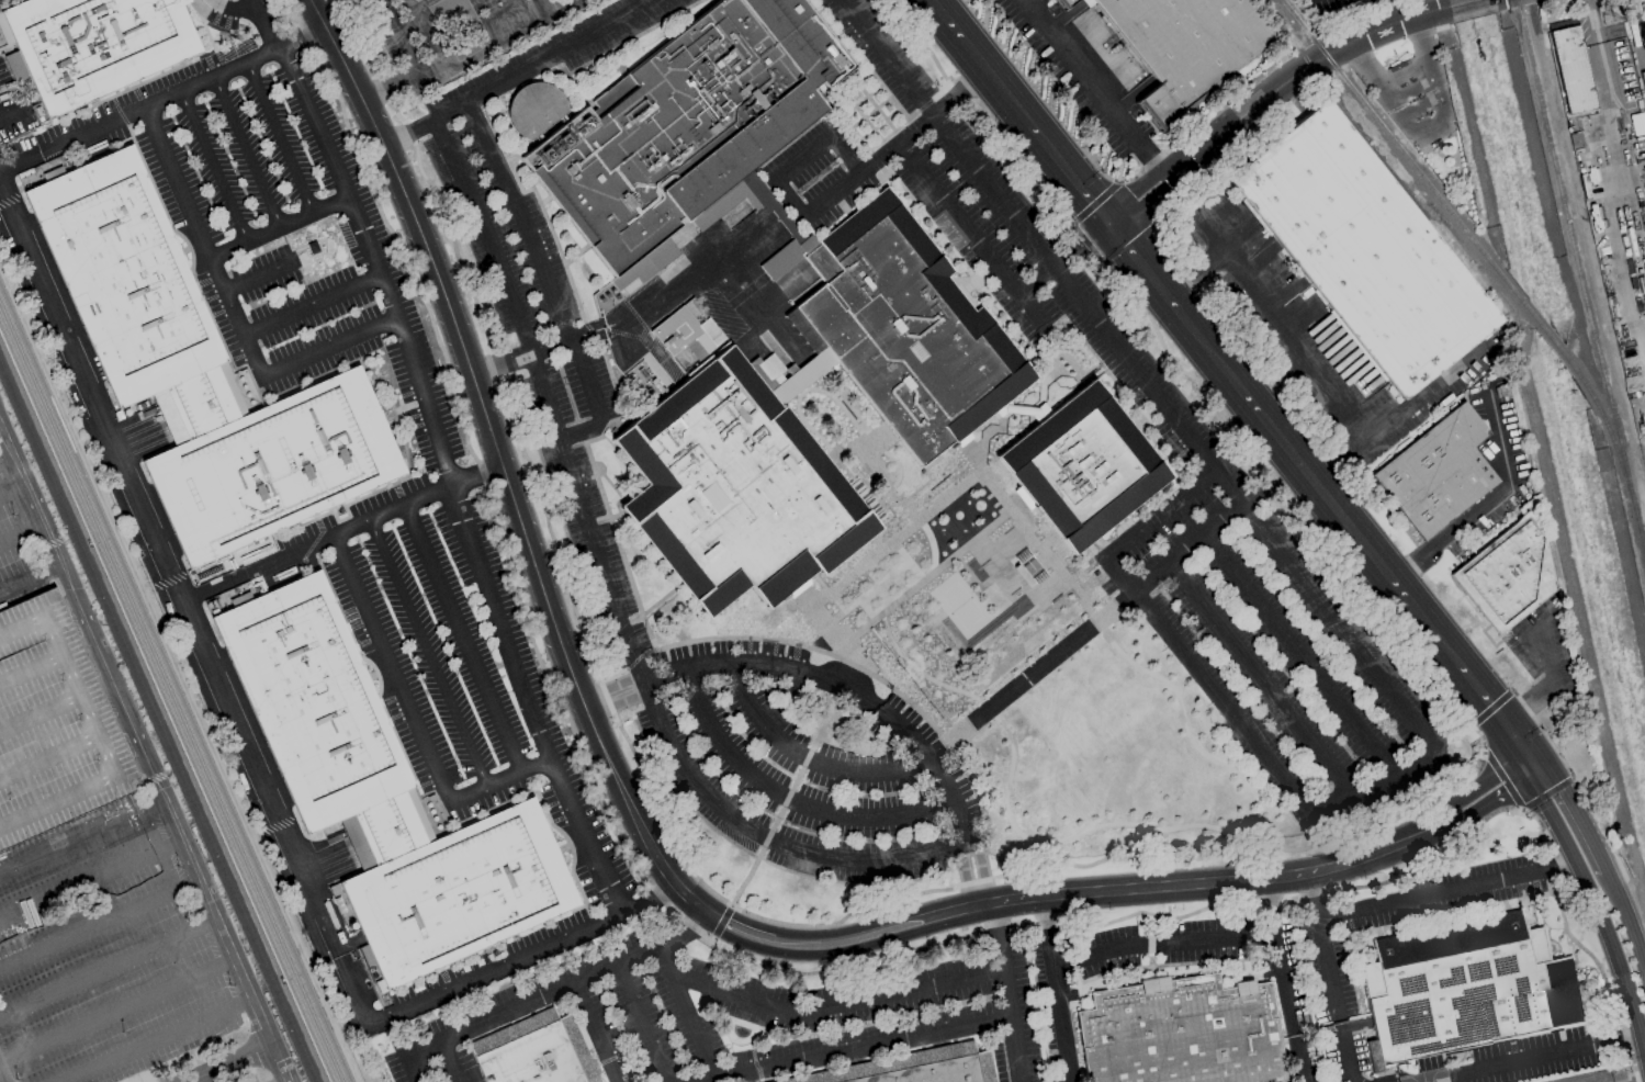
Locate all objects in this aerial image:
building: (1070, 2)
road: (539, 4)
road: (238, 5)
road: (1467, 5)
road: (1384, 14)
power tower: (1607, 15)
road: (429, 18)
road: (399, 36)
road: (303, 37)
road: (488, 37)
building: (94, 45)
building: (1192, 46)
road: (543, 60)
flagpole: (1396, 60)
road: (979, 63)
building: (1570, 69)
road: (1402, 71)
road: (1081, 72)
road: (391, 89)
road: (1410, 89)
road: (1265, 98)
road: (140, 108)
road: (1419, 108)
building: (692, 122)
road: (1427, 128)
road: (949, 132)
road: (406, 134)
road: (279, 136)
railway: (1370, 148)
road: (246, 150)
road: (803, 157)
railway: (1407, 159)
road: (1152, 162)
road: (212, 165)
road: (870, 166)
road: (1068, 174)
road: (1625, 180)
road: (278, 225)
traffic signals: (1107, 225)
road: (970, 234)
road: (203, 240)
road: (1081, 245)
building: (1365, 249)
road: (1141, 268)
road: (258, 277)
road: (684, 279)
road: (1198, 279)
railway: (1580, 279)
road: (1036, 280)
road: (547, 283)
road: (313, 304)
building: (691, 307)
railway: (1547, 335)
road: (330, 348)
road: (534, 350)
building: (203, 375)
road: (1276, 381)
building: (945, 398)
road: (1332, 398)
railway: (1607, 428)
road: (3, 450)
road: (442, 454)
road: (1337, 460)
road: (500, 465)
building: (1092, 466)
building: (1436, 472)
road: (1509, 483)
road: (1316, 487)
road: (13, 494)
road: (1246, 509)
road: (1159, 514)
road: (356, 523)
road: (22, 538)
road: (1415, 564)
building: (1507, 576)
road: (31, 581)
road: (219, 584)
road: (609, 594)
road: (183, 609)
road: (463, 636)
road: (428, 652)
road: (1303, 655)
road: (391, 667)
road: (1265, 679)
road: (1554, 683)
road: (843, 685)
road: (1205, 685)
road: (609, 688)
railway: (171, 689)
road: (1479, 691)
railway: (165, 705)
road: (619, 706)
road: (987, 709)
traffic signals: (1501, 720)
railway: (158, 723)
building: (53, 728)
parking lot: (53, 728)
road: (1513, 736)
traffic signals: (1526, 753)
road: (145, 755)
road: (1536, 758)
road: (1526, 764)
traffic signals: (1547, 765)
road: (1536, 770)
traffic signals: (1526, 776)
road: (500, 779)
road: (1374, 787)
road: (1477, 787)
building: (384, 793)
road: (788, 796)
road: (1480, 807)
road: (1578, 816)
road: (1556, 827)
road: (82, 838)
road: (1562, 863)
road: (982, 874)
road: (964, 878)
road: (91, 883)
road: (1433, 891)
road: (1104, 893)
road: (1312, 893)
road: (647, 897)
road: (1274, 906)
road: (1043, 914)
road: (993, 922)
road: (1629, 924)
road: (100, 926)
road: (685, 932)
road: (741, 932)
road: (1162, 944)
road: (1327, 968)
road: (108, 969)
road: (496, 969)
road: (1621, 969)
road: (1285, 984)
building: (1472, 988)
road: (548, 995)
road: (836, 1004)
road: (1057, 1005)
road: (1007, 1010)
road: (686, 1011)
road: (116, 1014)
road: (642, 1024)
road: (596, 1033)
building: (1187, 1034)
road: (159, 1041)
road: (848, 1048)
building: (541, 1052)
road: (1343, 1053)
road: (409, 1057)
road: (1298, 1058)
road: (444, 1063)
road: (1499, 1063)
road: (232, 1064)
building: (921, 1067)
park: (1427, 1075)
power substation: (1608, 1075)
road: (1, 1079)

